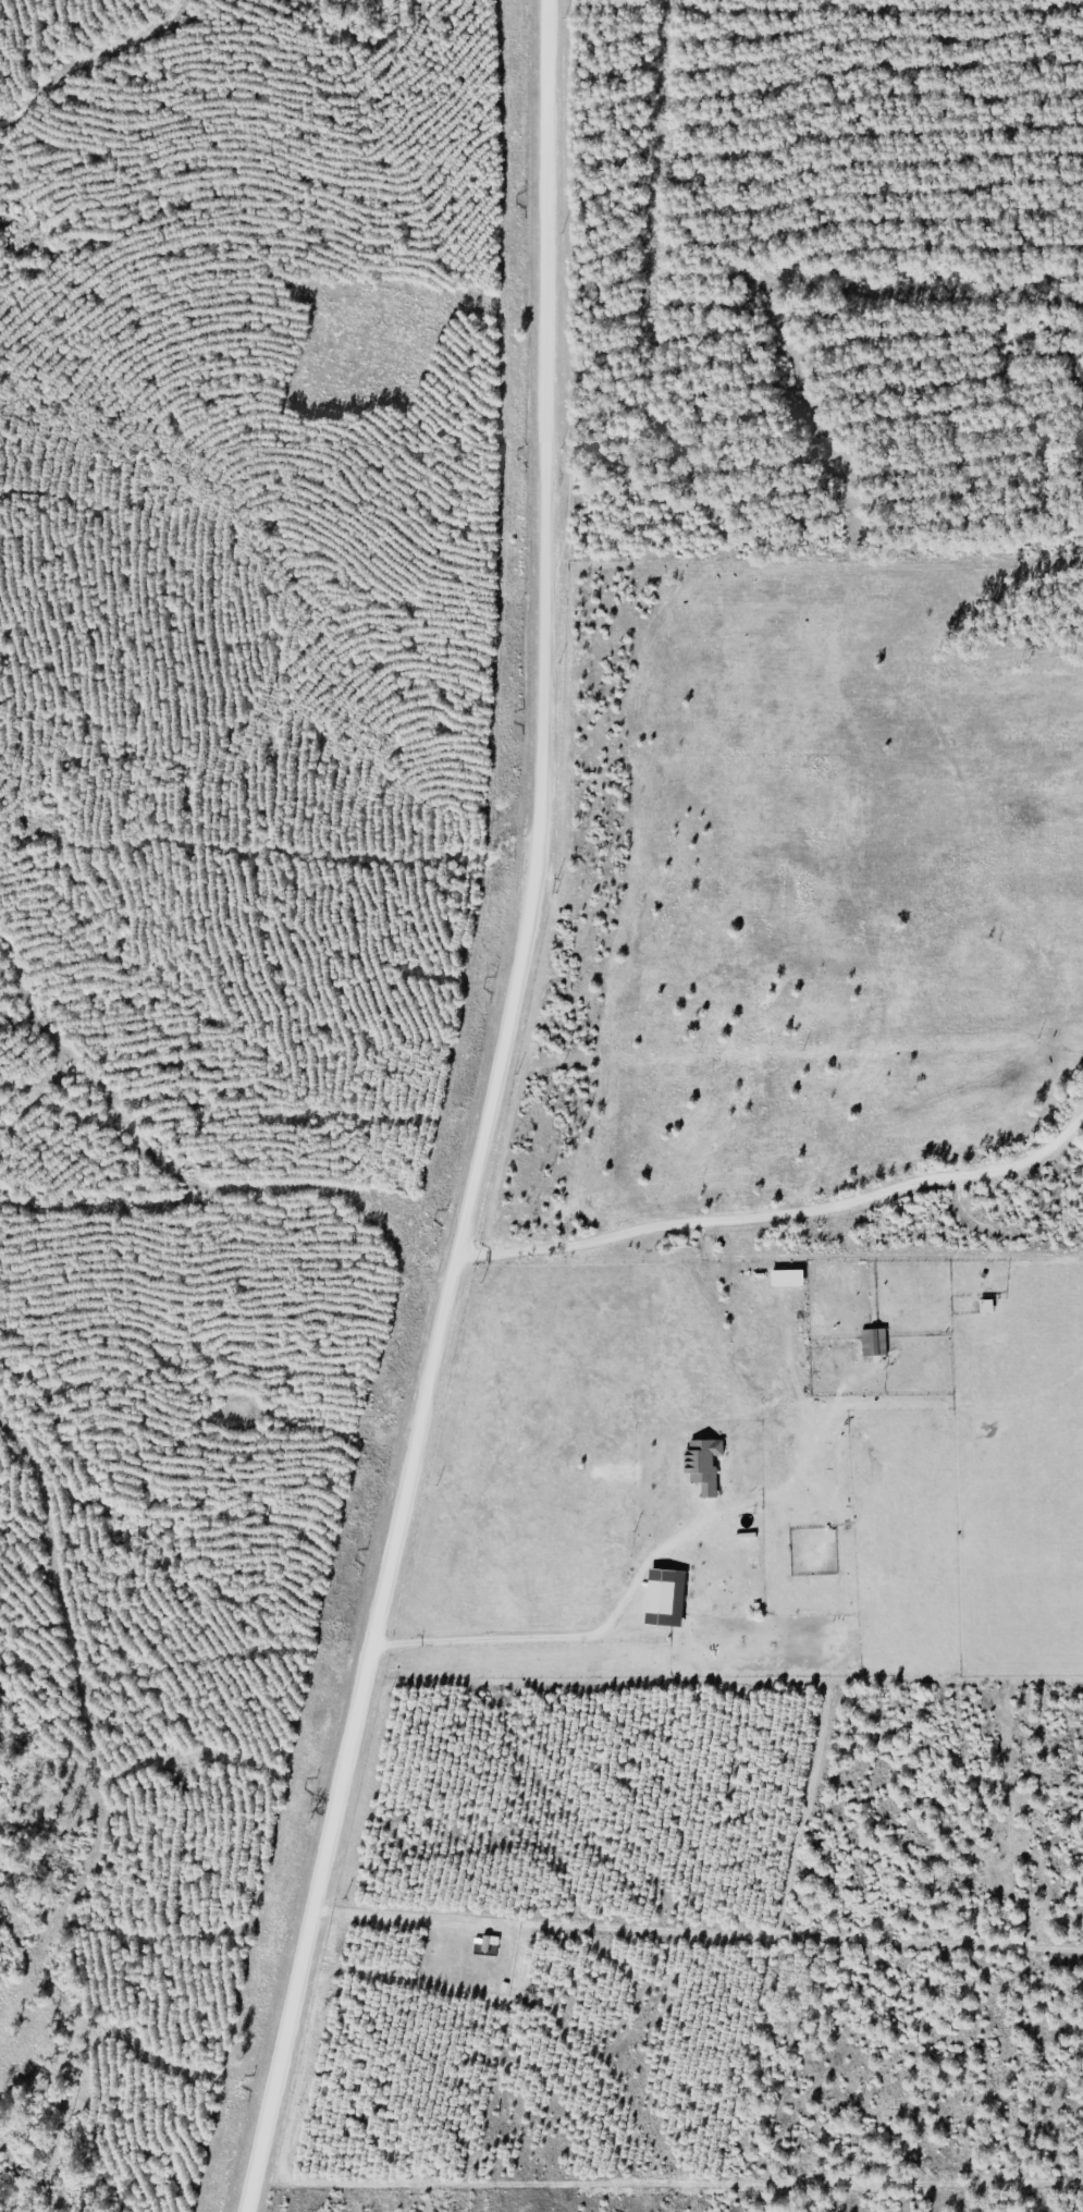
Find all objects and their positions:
road: (476, 1116)

